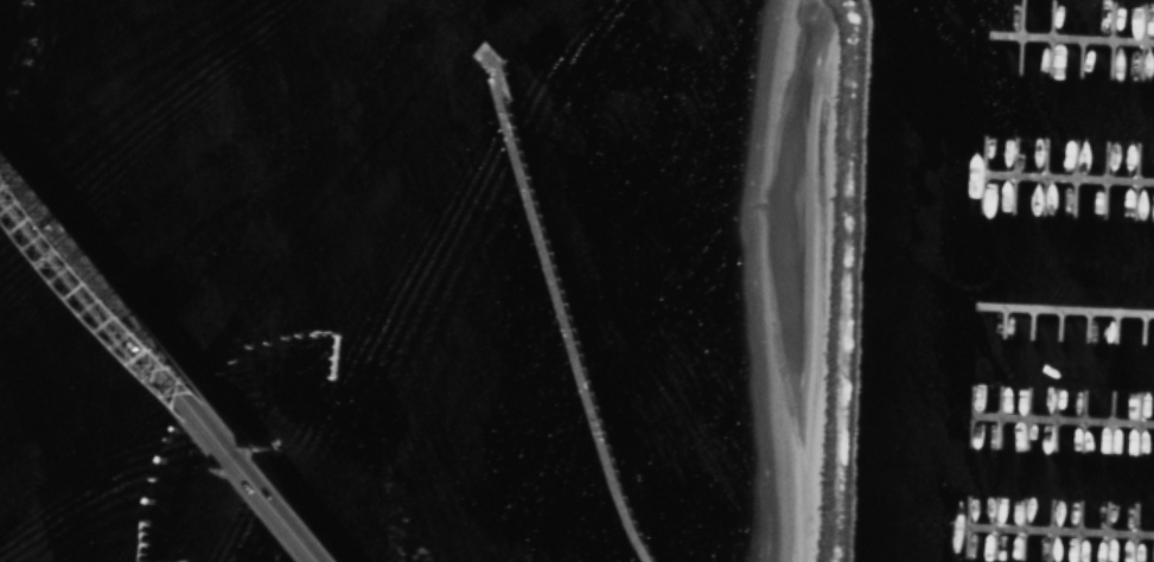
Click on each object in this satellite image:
pier: (1069, 37)
pier: (1066, 173)
river: (161, 230)
pier: (553, 293)
pier: (1063, 308)
road: (177, 345)
road: (168, 355)
road: (160, 364)
pier: (1059, 419)
pier: (1059, 528)

